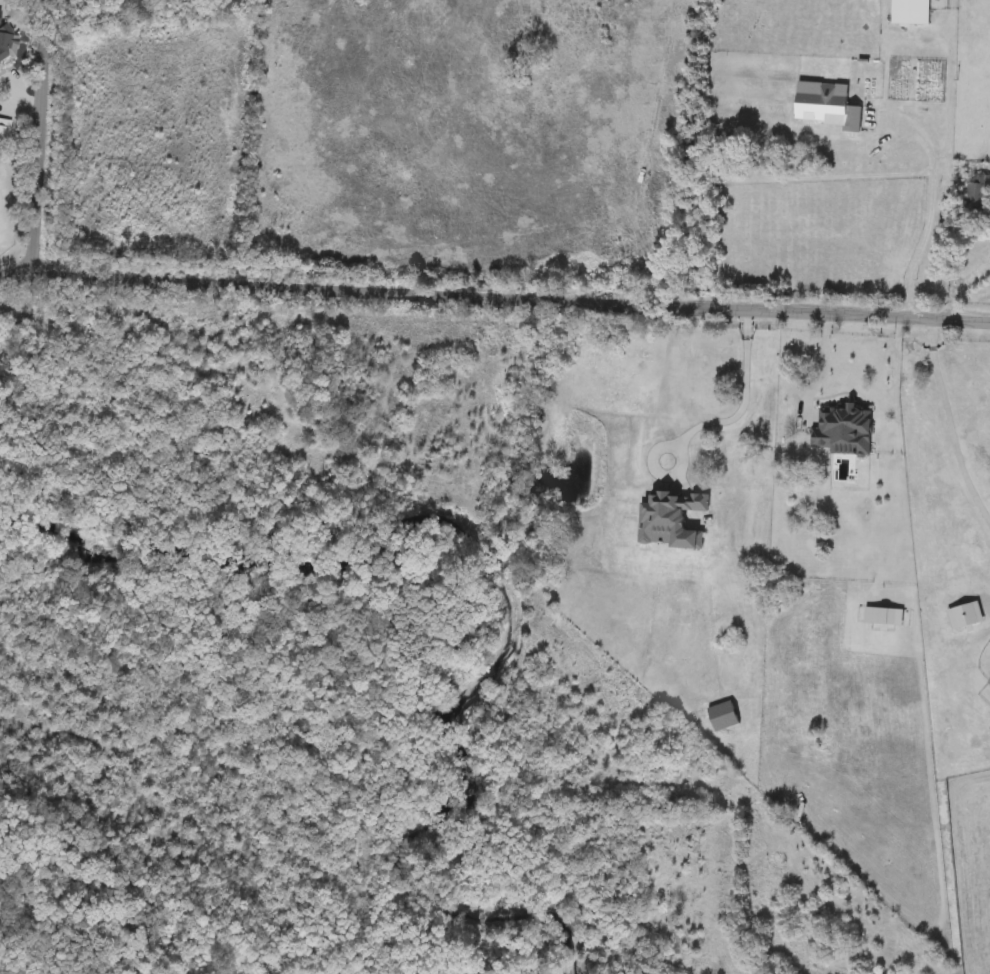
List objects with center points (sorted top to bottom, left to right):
building: (4, 4)
building: (5, 134)
road: (40, 137)
building: (979, 194)
road: (935, 209)
road: (494, 299)
road: (932, 336)
road: (820, 372)
road: (703, 421)
road: (955, 439)

